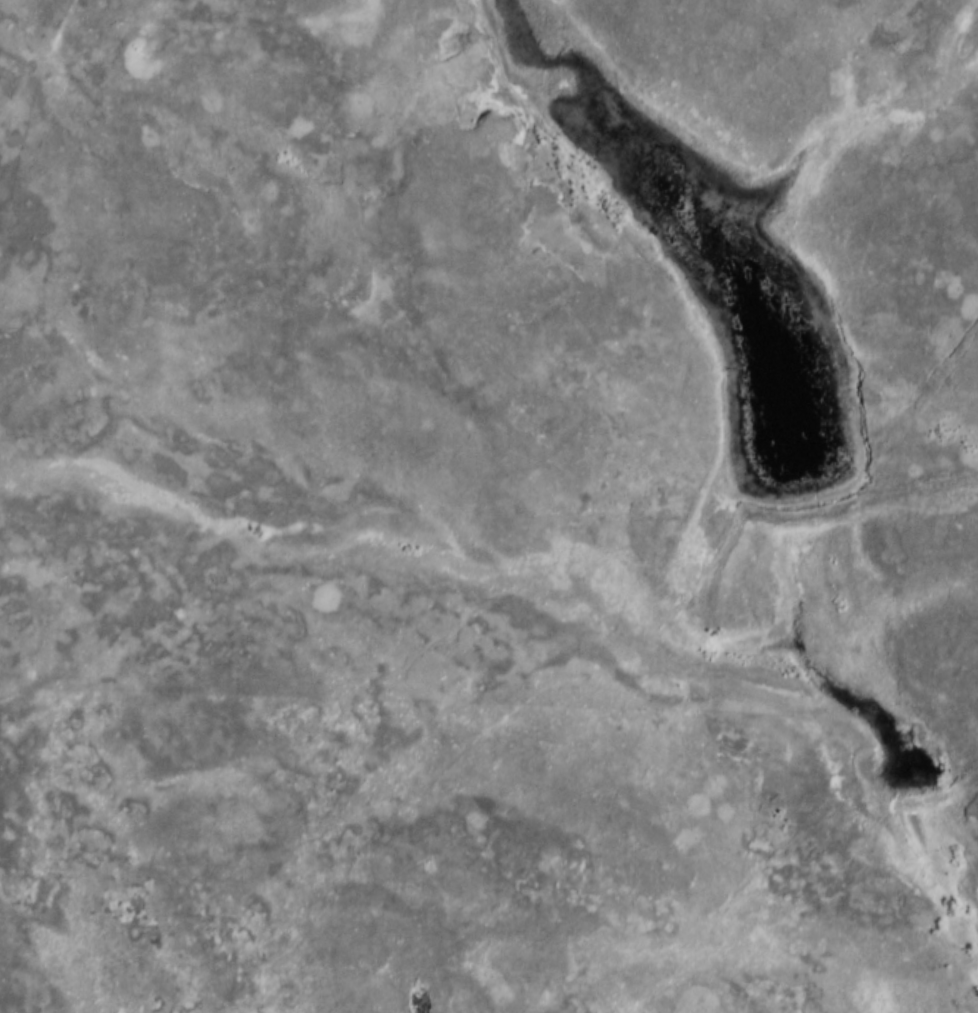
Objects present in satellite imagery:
road: (270, 1009)

